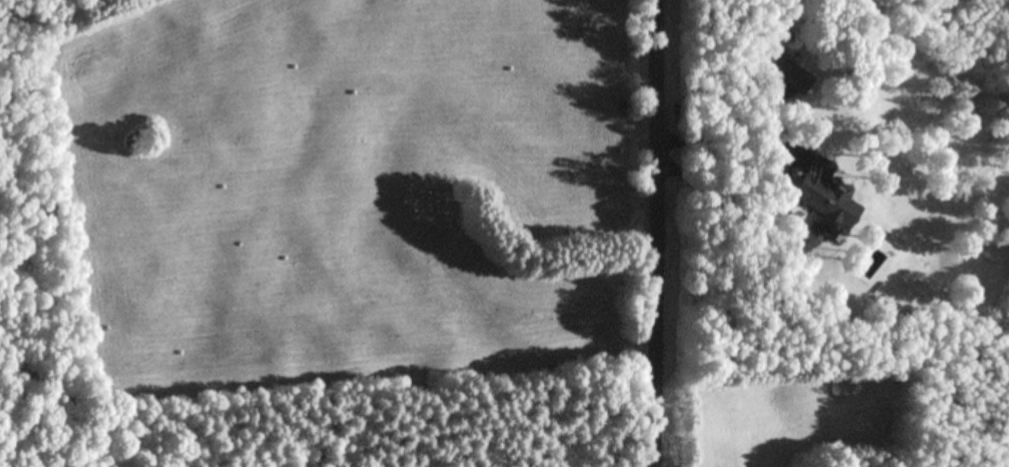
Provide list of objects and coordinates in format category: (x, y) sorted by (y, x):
building: (826, 204)
road: (648, 233)

